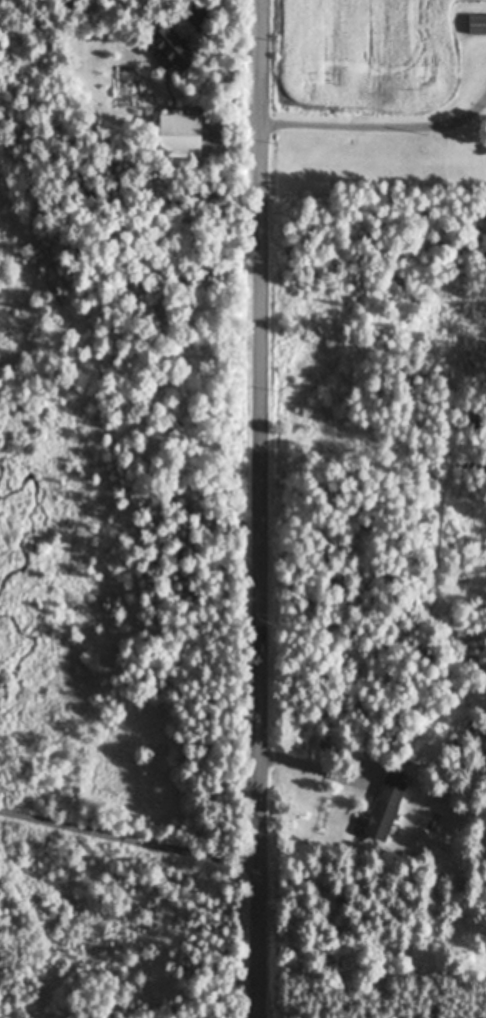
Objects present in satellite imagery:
building: (478, 24)
building: (176, 46)
building: (182, 134)
road: (260, 508)
building: (386, 809)

